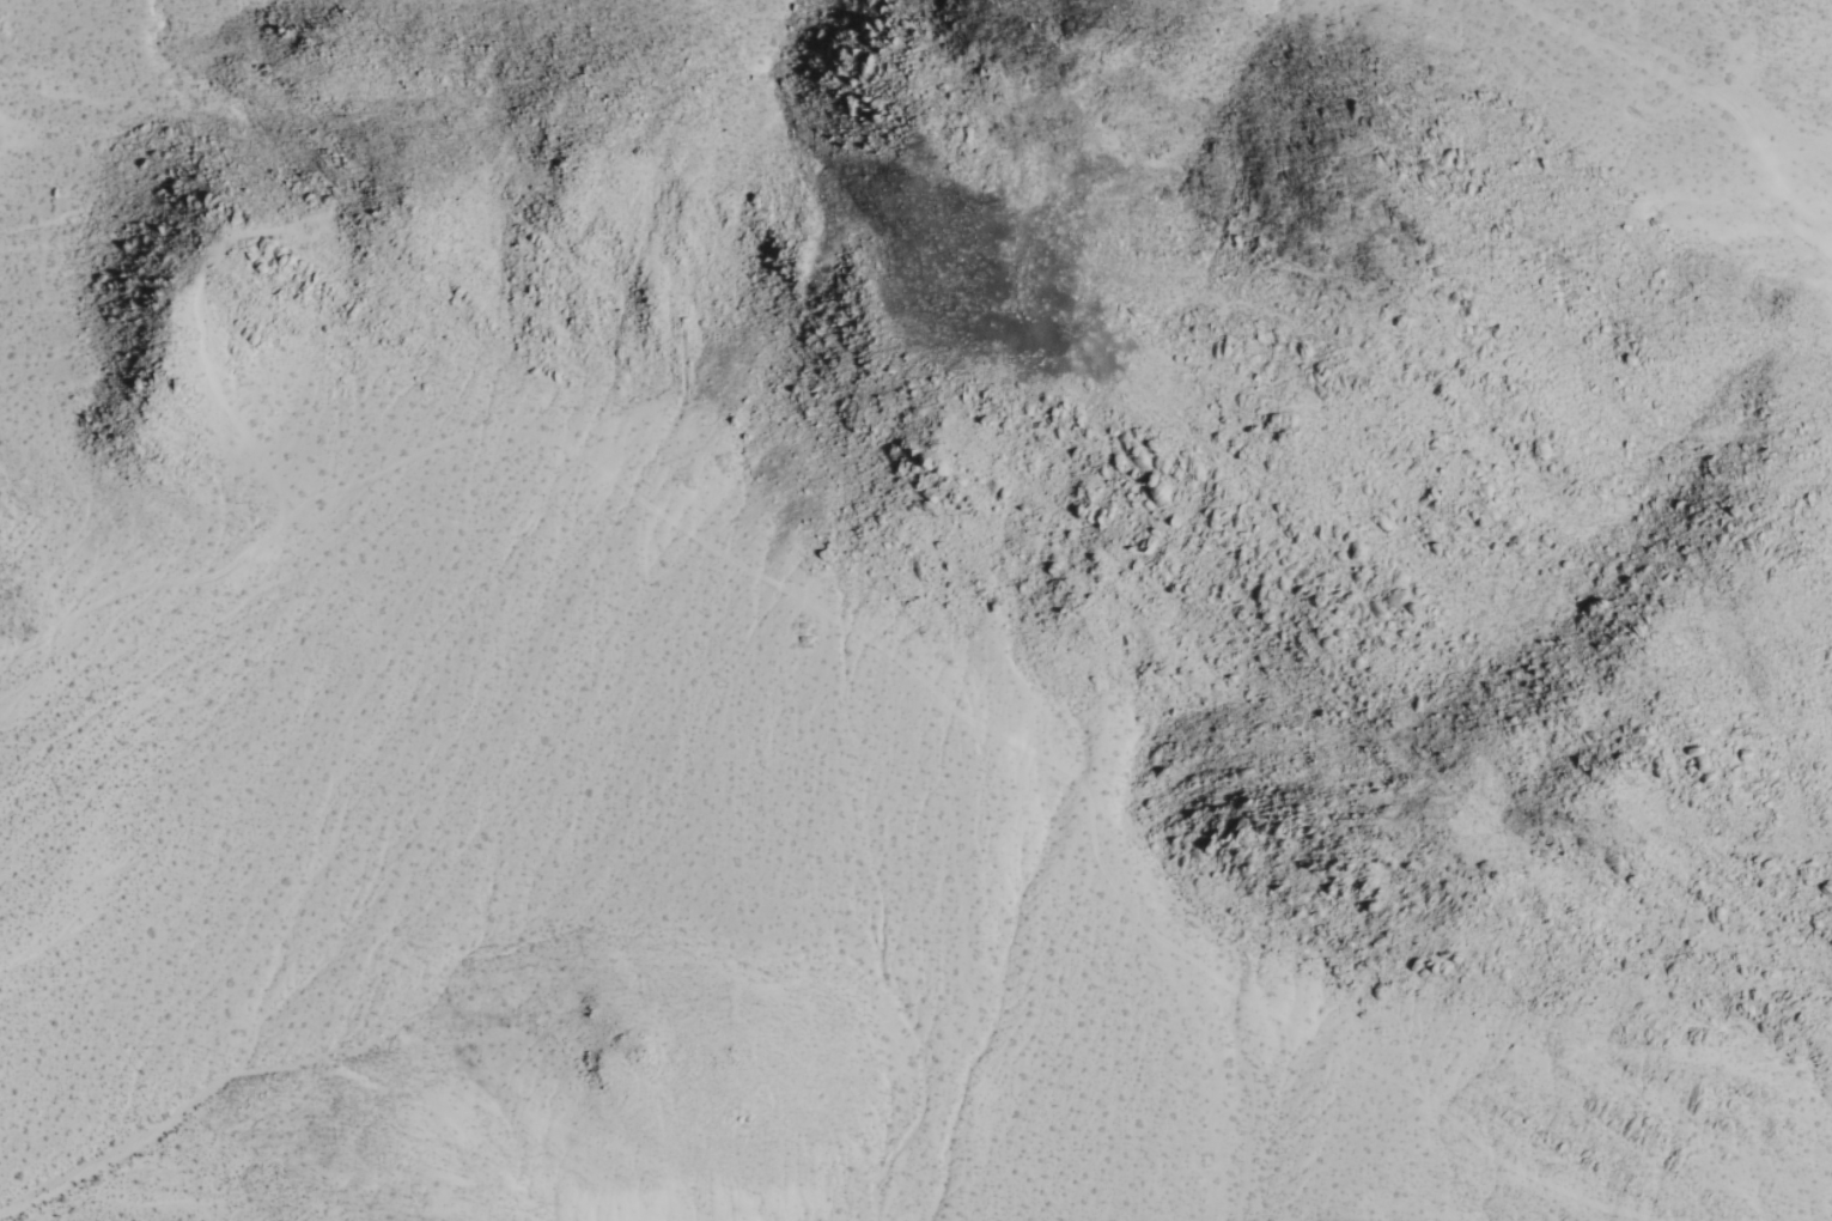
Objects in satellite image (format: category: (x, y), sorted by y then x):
road: (1720, 81)

